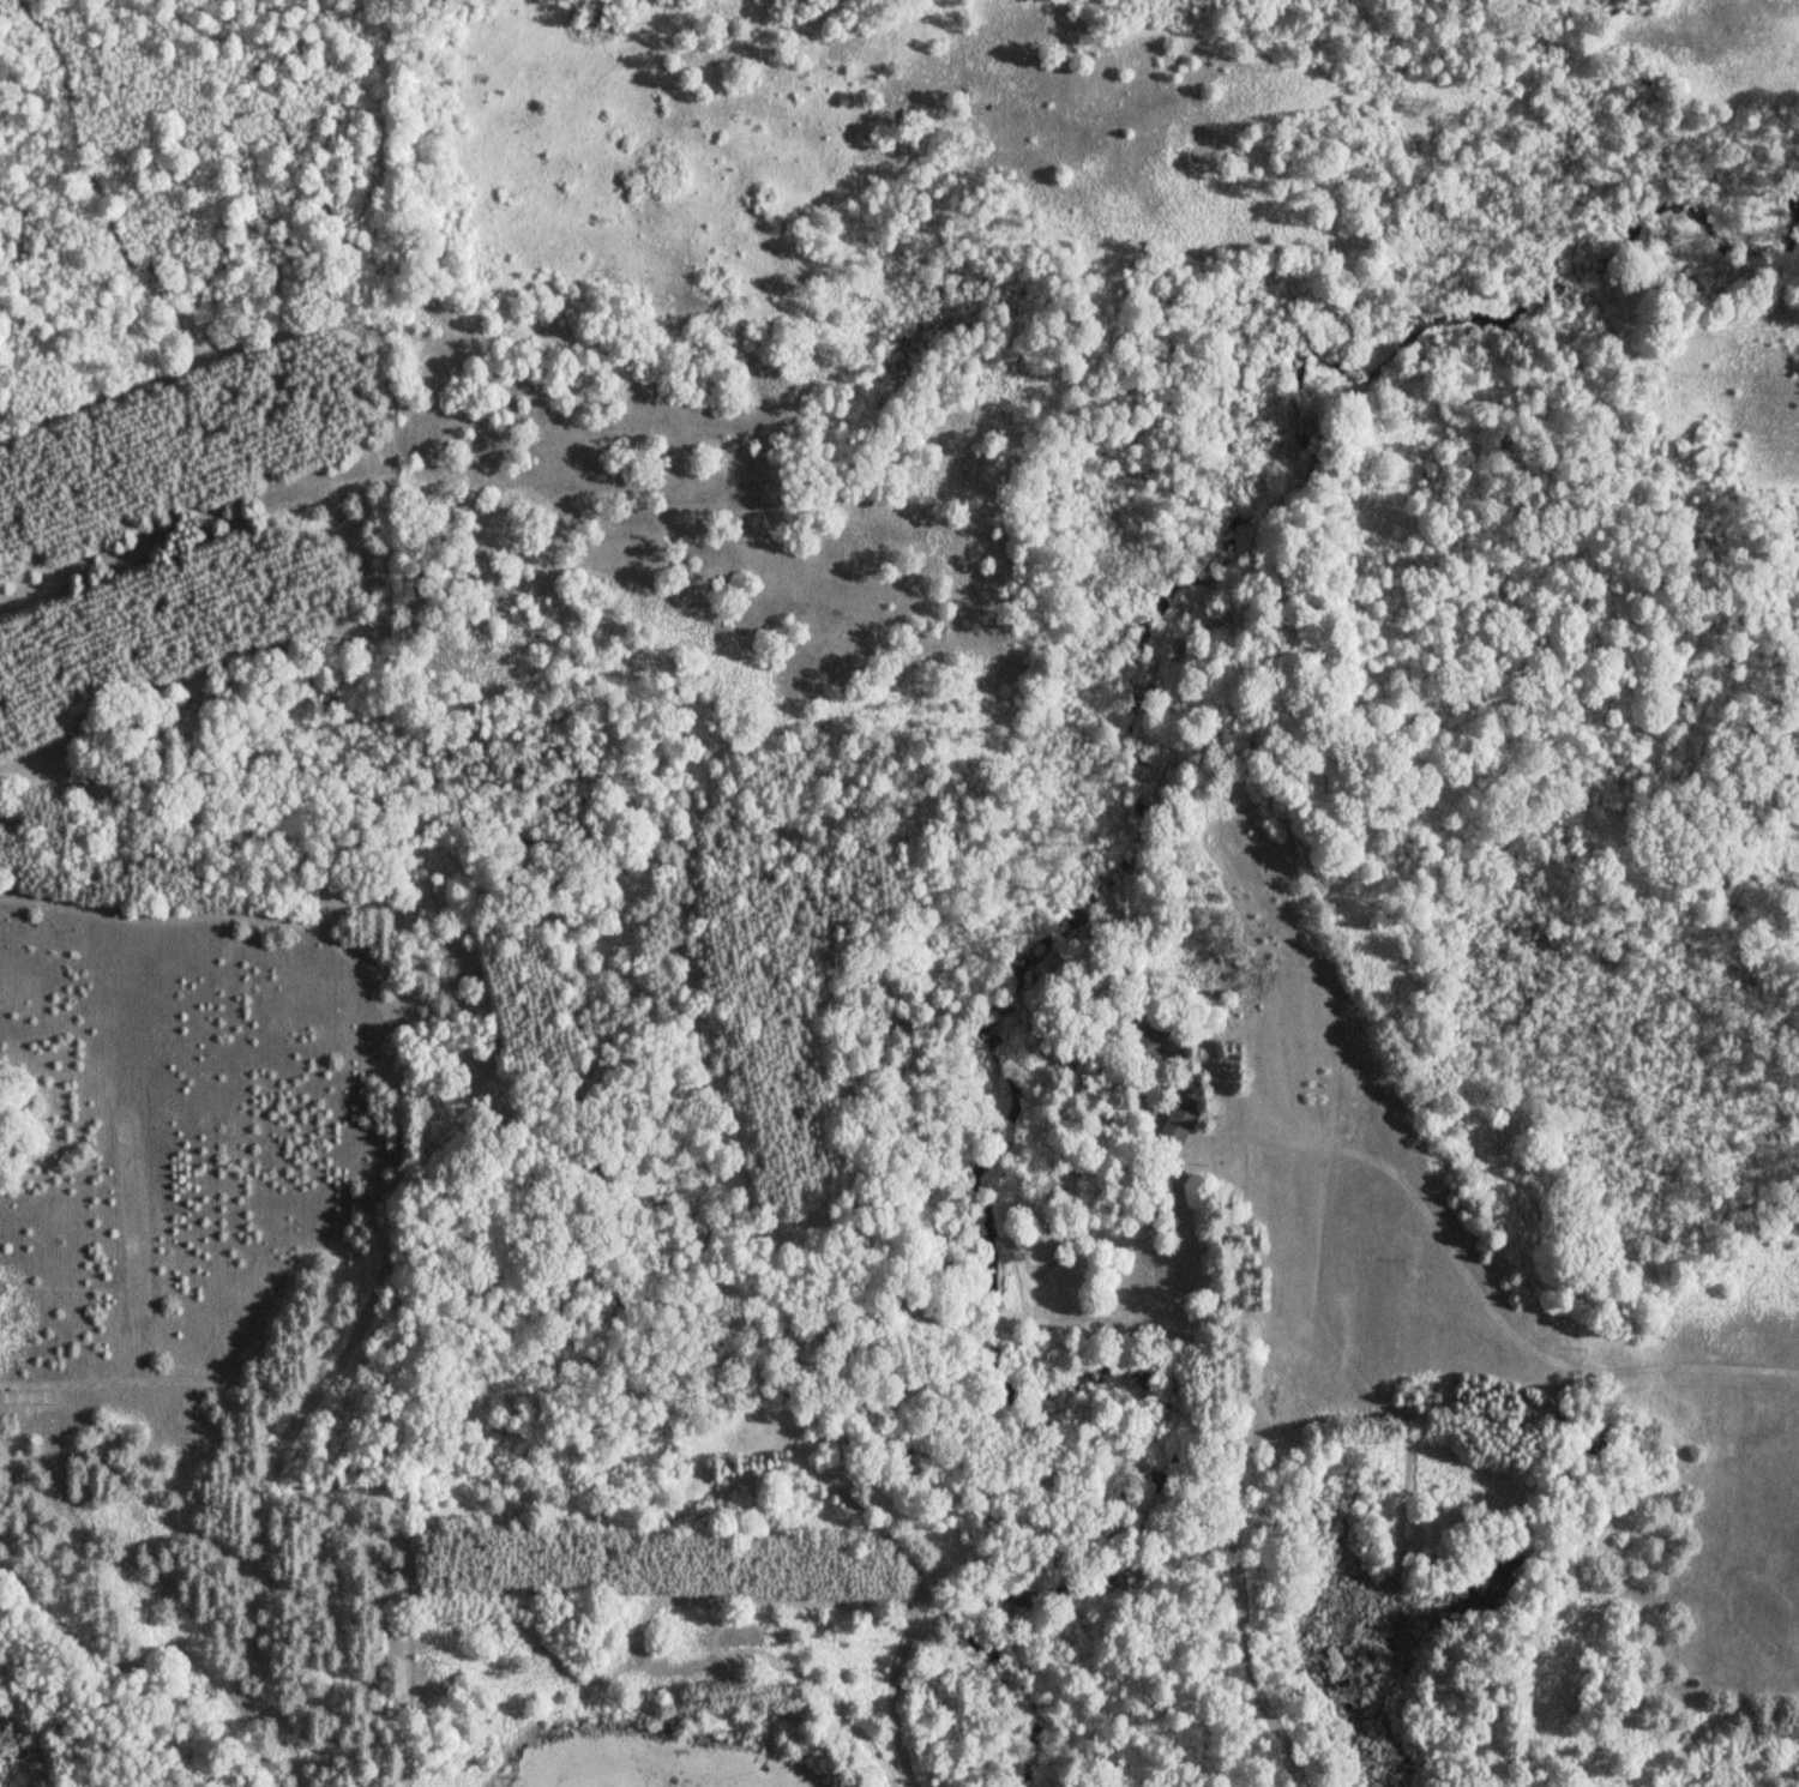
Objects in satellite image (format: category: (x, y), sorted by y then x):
road: (1220, 1463)

